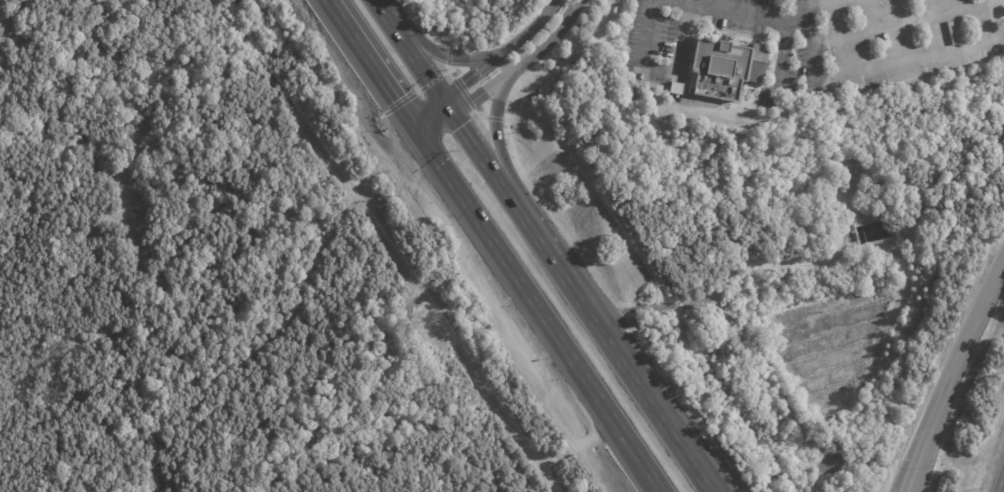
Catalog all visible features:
road: (822, 7)
road: (383, 9)
road: (749, 16)
road: (907, 23)
road: (533, 30)
road: (685, 37)
parking lot: (902, 39)
road: (809, 40)
road: (442, 53)
parking lot: (653, 53)
road: (641, 54)
road: (911, 59)
road: (421, 61)
road: (524, 64)
road: (365, 68)
building: (726, 69)
road: (474, 76)
building: (674, 87)
traffic signals: (453, 104)
road: (432, 120)
road: (496, 126)
traffic signals: (411, 136)
road: (479, 143)
road: (531, 219)
road: (531, 314)
power tower: (432, 322)
road: (963, 344)
road: (635, 374)
road: (919, 461)
road: (1003, 489)
road: (653, 491)
road: (908, 491)

